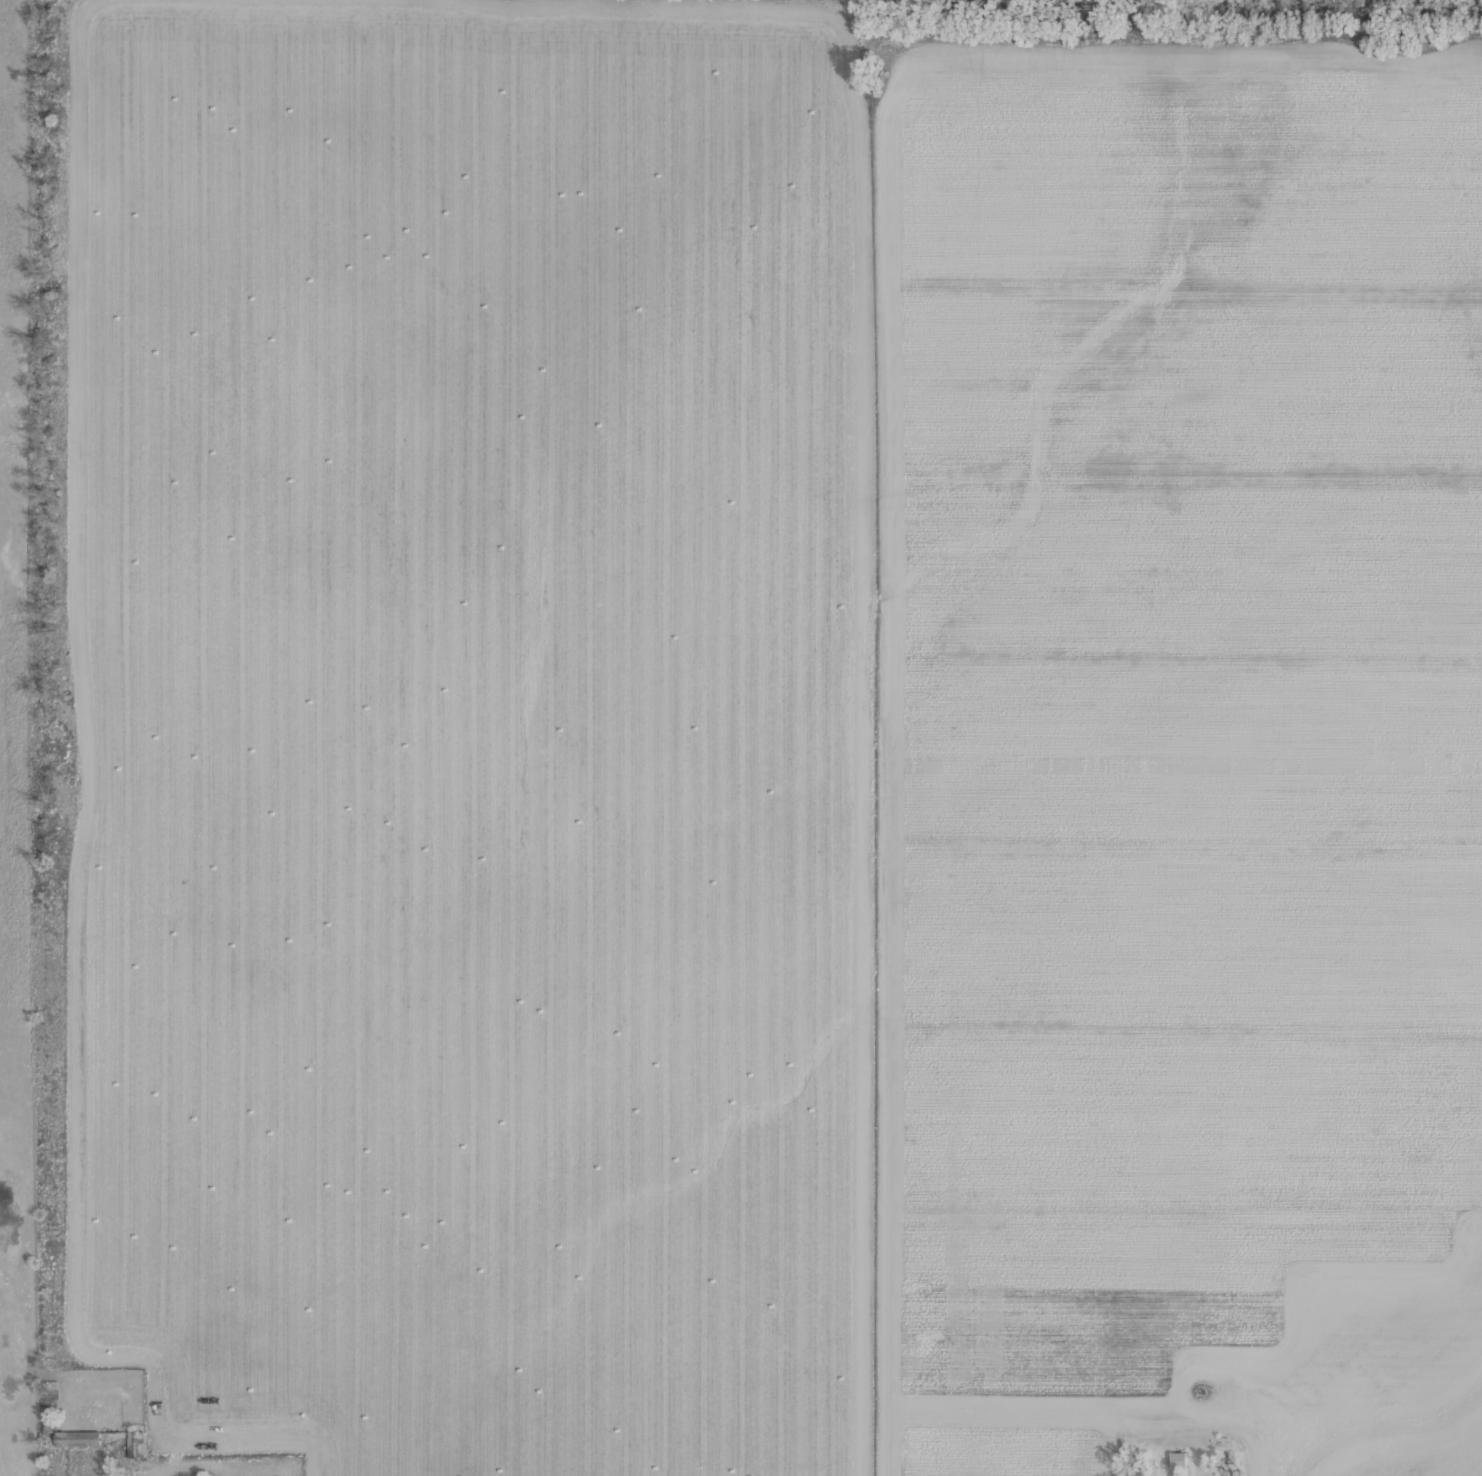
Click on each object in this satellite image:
building: (75, 1439)
building: (134, 1442)
building: (1176, 1460)
building: (1175, 1475)

